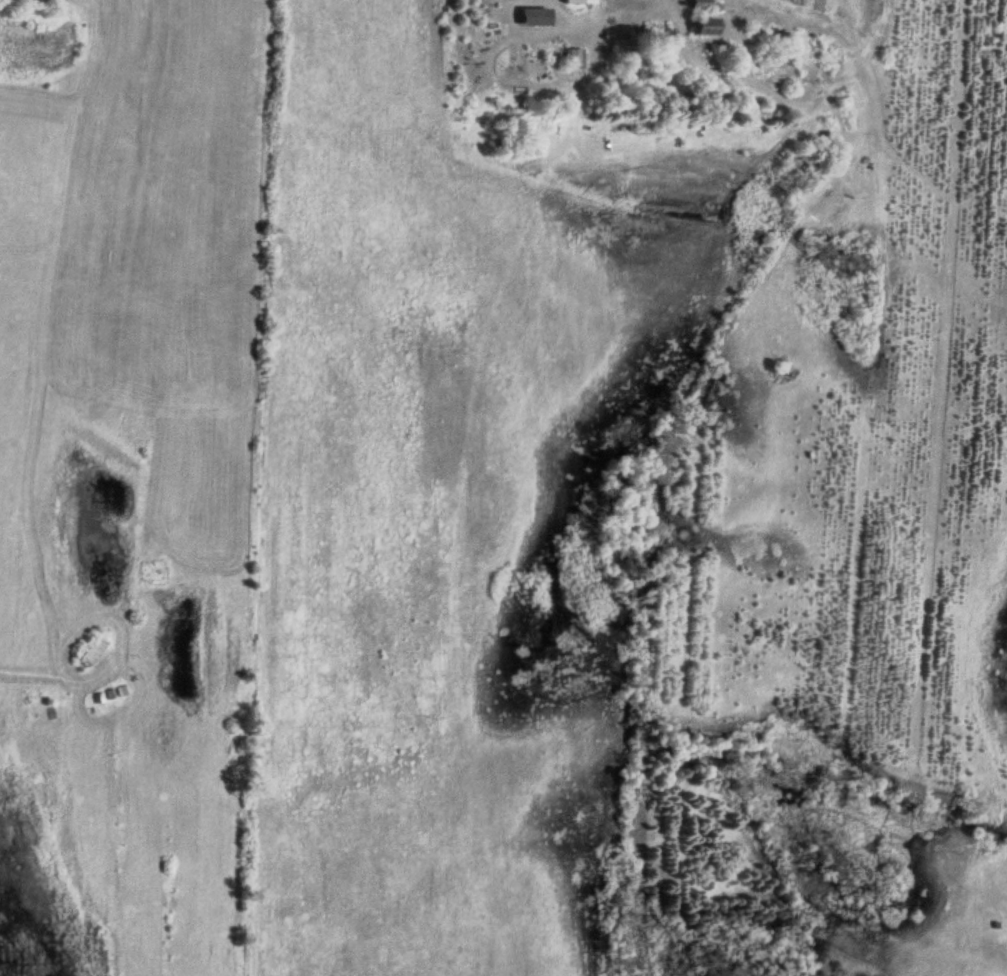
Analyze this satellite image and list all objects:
building: (576, 1)
building: (695, 4)
building: (528, 16)
building: (700, 25)

